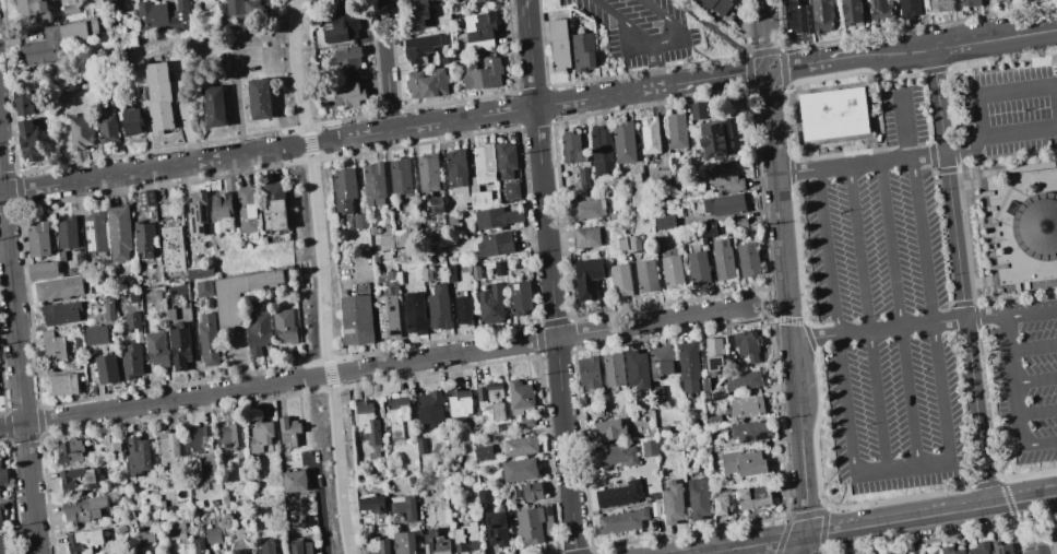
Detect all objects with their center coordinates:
building: (479, 0)
building: (996, 0)
building: (341, 2)
building: (969, 2)
park: (1053, 4)
building: (108, 5)
building: (715, 5)
building: (940, 5)
building: (233, 7)
building: (251, 8)
building: (908, 8)
building: (31, 9)
building: (70, 9)
building: (881, 10)
building: (852, 11)
building: (415, 13)
building: (822, 15)
building: (162, 16)
building: (314, 16)
building: (796, 17)
building: (343, 25)
building: (479, 30)
parking lot: (644, 30)
road: (716, 31)
road: (761, 31)
road: (973, 40)
building: (55, 42)
road: (655, 44)
building: (559, 45)
building: (419, 46)
building: (582, 50)
building: (348, 58)
road: (830, 59)
road: (384, 64)
road: (655, 64)
road: (750, 69)
road: (767, 69)
building: (482, 72)
road: (951, 74)
road: (892, 75)
park: (301, 82)
building: (428, 83)
road: (1019, 91)
building: (347, 94)
building: (159, 97)
building: (259, 98)
building: (24, 102)
building: (215, 106)
parking lot: (1010, 109)
building: (698, 110)
road: (983, 116)
building: (834, 117)
building: (134, 119)
road: (906, 126)
building: (108, 130)
building: (676, 131)
building: (82, 132)
road: (370, 133)
road: (997, 134)
building: (650, 135)
building: (714, 139)
building: (29, 141)
building: (625, 142)
building: (572, 148)
building: (601, 150)
building: (504, 160)
building: (484, 163)
road: (859, 164)
building: (1018, 167)
building: (458, 172)
building: (428, 173)
building: (583, 175)
building: (400, 176)
building: (662, 177)
building: (725, 177)
building: (373, 184)
building: (344, 190)
building: (511, 190)
rooftop solar panel: (988, 192)
building: (146, 198)
building: (480, 199)
building: (436, 203)
building: (724, 204)
building: (275, 207)
rooftop solar panel: (990, 208)
building: (166, 209)
building: (248, 209)
building: (587, 209)
building: (222, 211)
rooftop solar panel: (440, 212)
building: (199, 213)
building: (496, 217)
building: (360, 221)
building: (452, 221)
building: (665, 222)
rooftop solar panel: (92, 223)
building: (739, 223)
rooftop solar panel: (993, 224)
road: (997, 224)
building: (1036, 225)
building: (710, 228)
building: (96, 232)
building: (120, 232)
building: (68, 233)
rooftop solar panel: (994, 234)
building: (419, 236)
rooftop solar panel: (94, 237)
building: (587, 237)
building: (658, 237)
building: (38, 238)
building: (145, 238)
building: (384, 241)
building: (703, 241)
building: (634, 243)
building: (495, 244)
building: (622, 244)
rooftop solar panel: (991, 245)
building: (173, 248)
rooftop solar panel: (994, 255)
building: (723, 259)
building: (748, 259)
rooftop solar panel: (1001, 267)
building: (498, 268)
building: (698, 268)
building: (43, 270)
building: (200, 271)
building: (673, 271)
building: (450, 272)
building: (476, 272)
building: (426, 274)
building: (646, 275)
road: (322, 276)
road: (549, 276)
road: (961, 276)
building: (391, 278)
building: (587, 278)
building: (620, 280)
building: (58, 287)
building: (204, 287)
building: (239, 295)
building: (520, 297)
building: (491, 303)
road: (768, 304)
road: (787, 306)
building: (438, 307)
rooftop solar panel: (392, 308)
parking lot: (884, 308)
building: (109, 309)
road: (933, 309)
building: (463, 310)
building: (61, 313)
building: (414, 314)
road: (901, 314)
road: (1032, 314)
building: (170, 315)
building: (388, 316)
road: (986, 316)
road: (868, 318)
building: (357, 319)
road: (839, 320)
building: (133, 321)
road: (903, 325)
building: (285, 326)
rooftop solar panel: (382, 328)
building: (259, 331)
rooftop solar panel: (394, 333)
building: (95, 334)
road: (815, 337)
building: (209, 339)
building: (78, 343)
building: (747, 344)
building: (54, 345)
building: (180, 347)
road: (1034, 347)
building: (156, 349)
road: (17, 352)
park: (324, 354)
building: (714, 354)
building: (131, 361)
building: (661, 361)
rooftop solar panel: (715, 364)
building: (688, 366)
road: (375, 367)
building: (107, 368)
building: (614, 368)
building: (637, 369)
building: (589, 373)
parking lot: (1026, 379)
building: (745, 380)
road: (1036, 380)
road: (1014, 381)
building: (62, 384)
building: (705, 384)
building: (520, 397)
building: (491, 400)
building: (459, 402)
building: (747, 406)
building: (430, 408)
road: (1037, 412)
building: (399, 416)
building: (366, 421)
building: (713, 421)
building: (527, 422)
building: (497, 427)
building: (609, 429)
building: (288, 431)
building: (750, 431)
building: (230, 435)
building: (260, 436)
rooftop solar panel: (761, 437)
rooftop solar panel: (747, 440)
building: (167, 443)
road: (1040, 444)
building: (420, 445)
building: (519, 446)
building: (116, 447)
building: (649, 448)
building: (70, 450)
building: (203, 450)
building: (483, 452)
building: (135, 455)
building: (614, 455)
building: (744, 462)
road: (904, 468)
building: (519, 470)
building: (2, 474)
road: (1000, 474)
building: (78, 479)
road: (831, 480)
building: (295, 481)
road: (967, 484)
building: (532, 491)
building: (0, 494)
building: (619, 494)
building: (483, 496)
building: (699, 498)
building: (752, 498)
building: (722, 502)
building: (371, 504)
building: (673, 504)
building: (403, 506)
building: (1, 507)
building: (84, 508)
road: (836, 509)
road: (321, 511)
road: (929, 516)
building: (622, 521)
building: (1, 523)
building: (531, 524)
road: (1033, 527)
building: (496, 528)
building: (177, 534)
building: (213, 534)
building: (144, 537)
building: (466, 538)
building: (84, 541)
building: (403, 542)
building: (435, 543)
building: (3, 545)
building: (199, 545)
road: (752, 545)
road: (801, 545)
building: (268, 546)
building: (299, 546)
building: (376, 546)
building: (1001, 547)
building: (979, 549)
building: (238, 551)
building: (934, 551)
building: (950, 551)
building: (901, 553)
rooftop solar panel: (1001, 553)
rooftop solar panel: (1005, 553)
road: (1036, 553)

